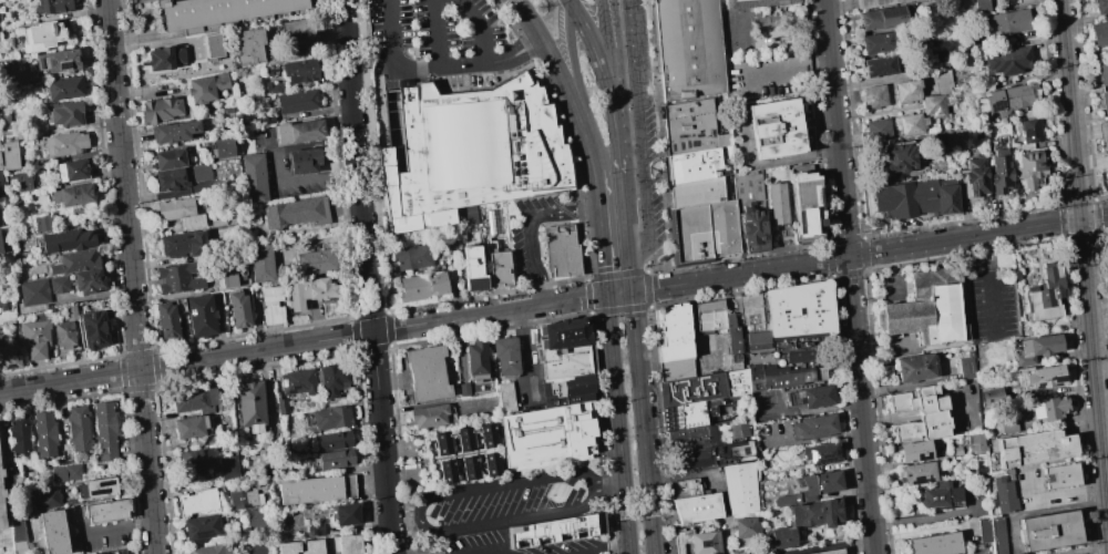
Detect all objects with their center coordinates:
road: (568, 1)
road: (570, 1)
building: (873, 2)
building: (756, 3)
building: (1100, 6)
building: (52, 7)
building: (217, 11)
building: (881, 18)
road: (530, 19)
road: (603, 19)
building: (1007, 22)
road: (482, 29)
building: (1098, 33)
building: (296, 34)
road: (439, 34)
building: (41, 35)
parking lot: (443, 42)
building: (876, 42)
building: (212, 44)
building: (248, 47)
road: (393, 49)
building: (687, 49)
road: (572, 53)
road: (515, 55)
building: (163, 58)
road: (596, 59)
rooftop solar panel: (50, 60)
building: (1007, 60)
building: (57, 61)
rooftop solar panel: (37, 62)
rooftop solar panel: (62, 64)
building: (879, 66)
road: (821, 68)
road: (410, 70)
building: (299, 71)
road: (557, 72)
road: (782, 72)
building: (1102, 73)
road: (609, 79)
building: (63, 88)
building: (205, 88)
building: (273, 88)
building: (906, 91)
building: (937, 95)
building: (873, 96)
building: (1006, 98)
building: (296, 101)
building: (1104, 102)
rooftop solar panel: (995, 105)
building: (160, 110)
road: (892, 112)
building: (63, 113)
road: (817, 121)
building: (911, 124)
building: (690, 127)
building: (774, 129)
building: (878, 130)
building: (173, 131)
building: (298, 131)
building: (1029, 131)
building: (1104, 132)
road: (658, 133)
road: (643, 135)
road: (584, 137)
building: (954, 140)
building: (64, 143)
road: (298, 145)
building: (222, 147)
road: (617, 147)
building: (473, 153)
building: (9, 155)
building: (899, 156)
building: (168, 158)
building: (304, 161)
building: (0, 163)
building: (1107, 163)
building: (698, 165)
building: (998, 167)
building: (1029, 168)
building: (70, 171)
building: (199, 172)
building: (974, 176)
road: (317, 177)
building: (170, 178)
building: (253, 178)
building: (20, 179)
rooftop solar panel: (973, 183)
building: (1, 185)
road: (596, 189)
building: (699, 192)
rooftop solar panel: (968, 192)
building: (71, 194)
building: (916, 198)
building: (777, 204)
building: (807, 206)
building: (178, 212)
building: (296, 212)
building: (749, 213)
traffic signals: (1079, 218)
road: (623, 219)
building: (42, 223)
building: (491, 223)
road: (529, 225)
parking lot: (530, 230)
building: (704, 230)
building: (65, 240)
road: (837, 242)
building: (183, 244)
building: (0, 250)
building: (562, 250)
road: (602, 252)
road: (827, 252)
road: (869, 254)
road: (654, 255)
road: (736, 256)
building: (413, 257)
building: (660, 257)
building: (73, 261)
building: (259, 261)
building: (315, 261)
road: (1084, 265)
building: (471, 268)
building: (228, 269)
building: (499, 269)
road: (616, 275)
road: (850, 276)
road: (130, 277)
building: (178, 277)
road: (368, 277)
road: (628, 277)
building: (88, 280)
building: (58, 284)
road: (991, 284)
building: (422, 286)
road: (736, 286)
building: (33, 291)
building: (308, 291)
traffic signals: (630, 293)
road: (618, 294)
traffic signals: (606, 295)
building: (1044, 295)
road: (574, 299)
building: (1, 300)
building: (270, 305)
parking lot: (993, 306)
road: (531, 307)
building: (237, 309)
road: (620, 309)
building: (803, 311)
building: (70, 312)
building: (201, 315)
building: (929, 315)
building: (714, 316)
building: (166, 320)
building: (758, 322)
building: (92, 329)
building: (64, 334)
building: (562, 334)
building: (676, 334)
building: (33, 338)
building: (739, 341)
building: (1033, 348)
road: (259, 350)
road: (524, 352)
building: (809, 352)
rooftop solar panel: (16, 355)
building: (504, 355)
building: (8, 357)
building: (474, 360)
building: (564, 361)
road: (778, 362)
rooftop solar panel: (9, 366)
building: (965, 366)
building: (914, 367)
building: (678, 370)
building: (425, 373)
building: (1039, 376)
building: (788, 377)
rooftop solar panel: (1056, 377)
building: (297, 382)
building: (332, 383)
rooftop solar panel: (1037, 383)
building: (463, 389)
building: (567, 390)
building: (504, 397)
building: (700, 397)
building: (814, 397)
building: (988, 397)
building: (195, 402)
building: (247, 404)
building: (1047, 407)
building: (917, 413)
road: (1102, 414)
building: (427, 416)
building: (331, 419)
road: (642, 422)
road: (618, 423)
building: (189, 427)
building: (78, 428)
building: (818, 428)
building: (741, 429)
building: (103, 430)
building: (253, 430)
building: (43, 434)
building: (485, 434)
building: (18, 437)
building: (545, 437)
building: (463, 439)
building: (695, 439)
building: (440, 442)
building: (332, 443)
building: (1034, 448)
rooftop solar panel: (835, 451)
building: (912, 451)
building: (820, 453)
rooftop solar panel: (811, 454)
building: (724, 456)
rooftop solar panel: (924, 456)
building: (191, 460)
rooftop solar panel: (823, 460)
building: (335, 462)
building: (489, 463)
building: (232, 466)
building: (468, 466)
building: (444, 471)
building: (0, 472)
building: (65, 473)
building: (914, 473)
building: (1060, 474)
rooftop solar panel: (916, 481)
rooftop solar panel: (106, 482)
road: (609, 482)
building: (818, 483)
building: (99, 488)
building: (687, 489)
building: (745, 489)
rooftop solar panel: (101, 490)
building: (1, 492)
building: (316, 492)
building: (937, 495)
building: (1003, 495)
building: (45, 497)
building: (242, 499)
building: (784, 500)
parking lot: (510, 501)
building: (196, 503)
road: (1107, 505)
building: (701, 507)
building: (105, 510)
building: (813, 513)
road: (638, 514)
building: (0, 516)
building: (345, 517)
building: (255, 519)
road: (421, 519)
building: (743, 527)
road: (107, 530)
building: (558, 530)
building: (1046, 530)
building: (17, 531)
building: (198, 531)
building: (52, 532)
rooftop solar panel: (203, 534)
building: (991, 534)
building: (778, 538)
building: (699, 543)
building: (933, 544)
parking lot: (507, 545)
building: (335, 546)
building: (349, 546)
building: (310, 547)
building: (287, 548)
building: (211, 551)
building: (832, 552)
road: (619, 553)

